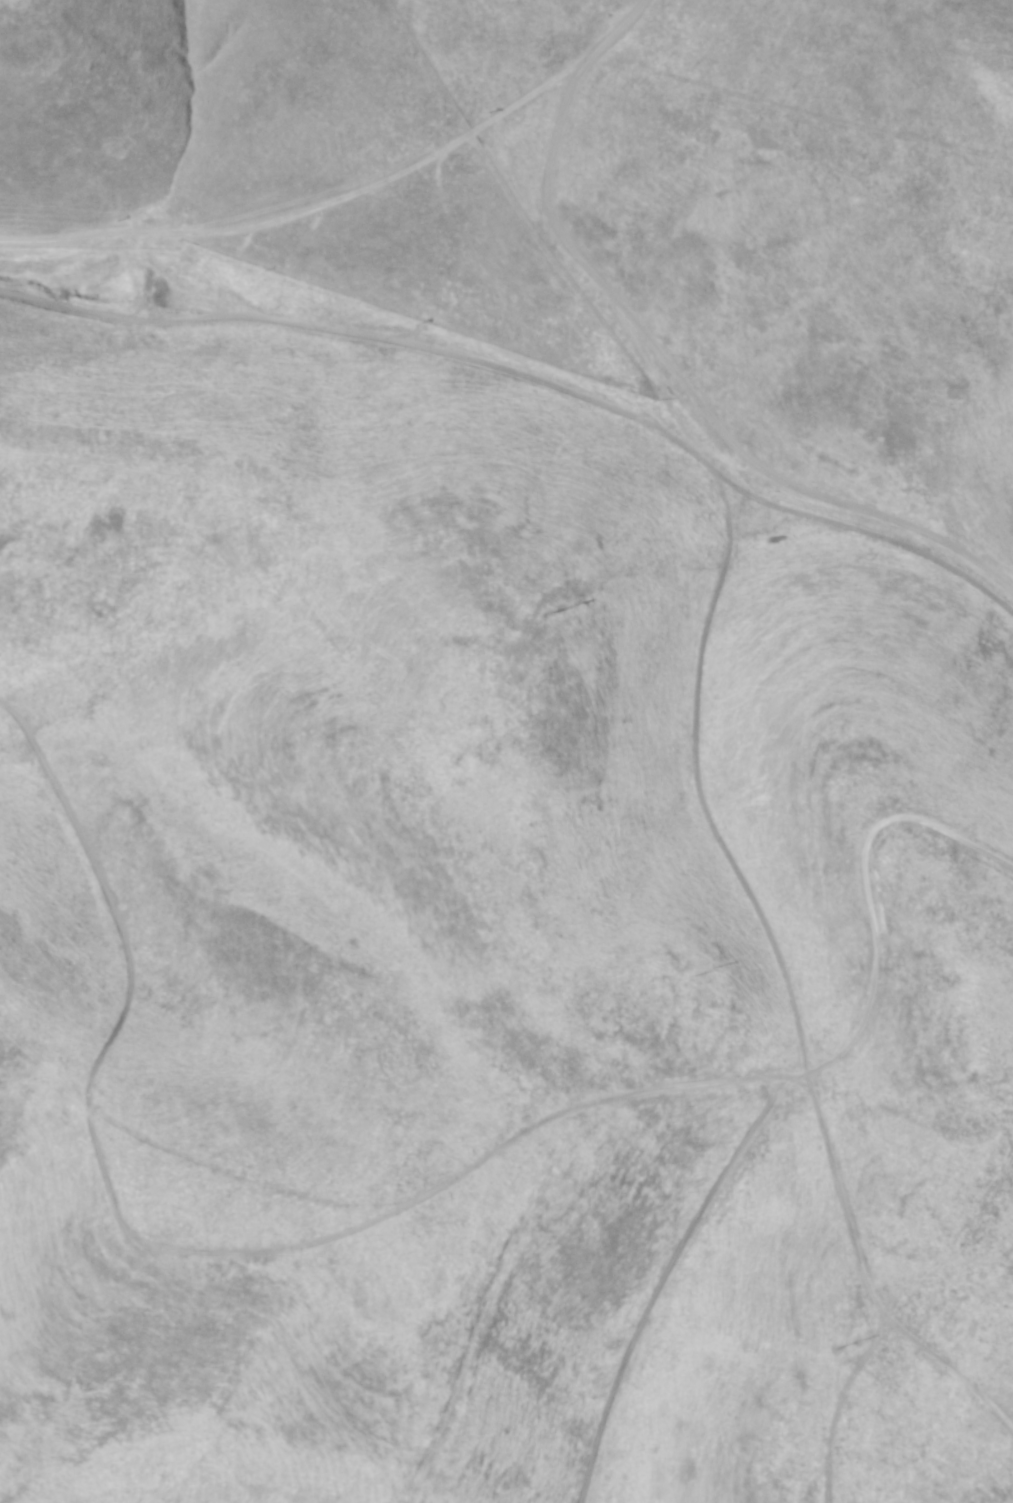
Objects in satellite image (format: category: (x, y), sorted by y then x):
road: (311, 188)
road: (310, 359)
road: (650, 430)
road: (771, 1028)

